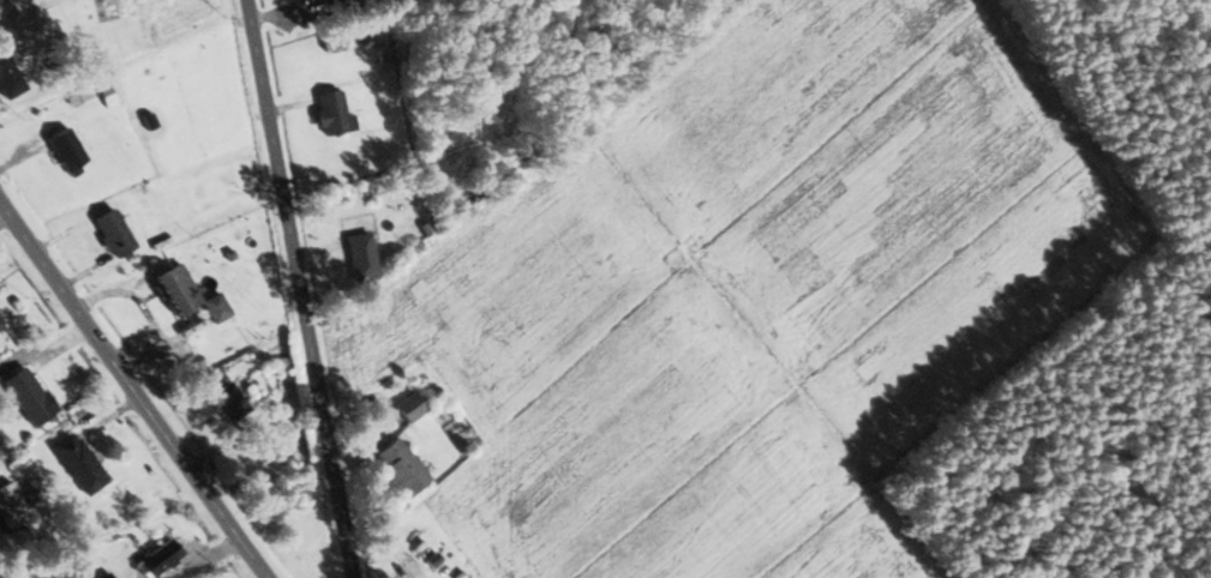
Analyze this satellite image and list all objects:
building: (113, 7)
building: (6, 80)
building: (328, 114)
building: (61, 150)
building: (108, 233)
building: (356, 257)
building: (168, 288)
road: (296, 288)
building: (211, 307)
road: (131, 393)
building: (23, 396)
building: (226, 403)
building: (74, 463)
building: (396, 466)
building: (8, 507)
building: (161, 554)

